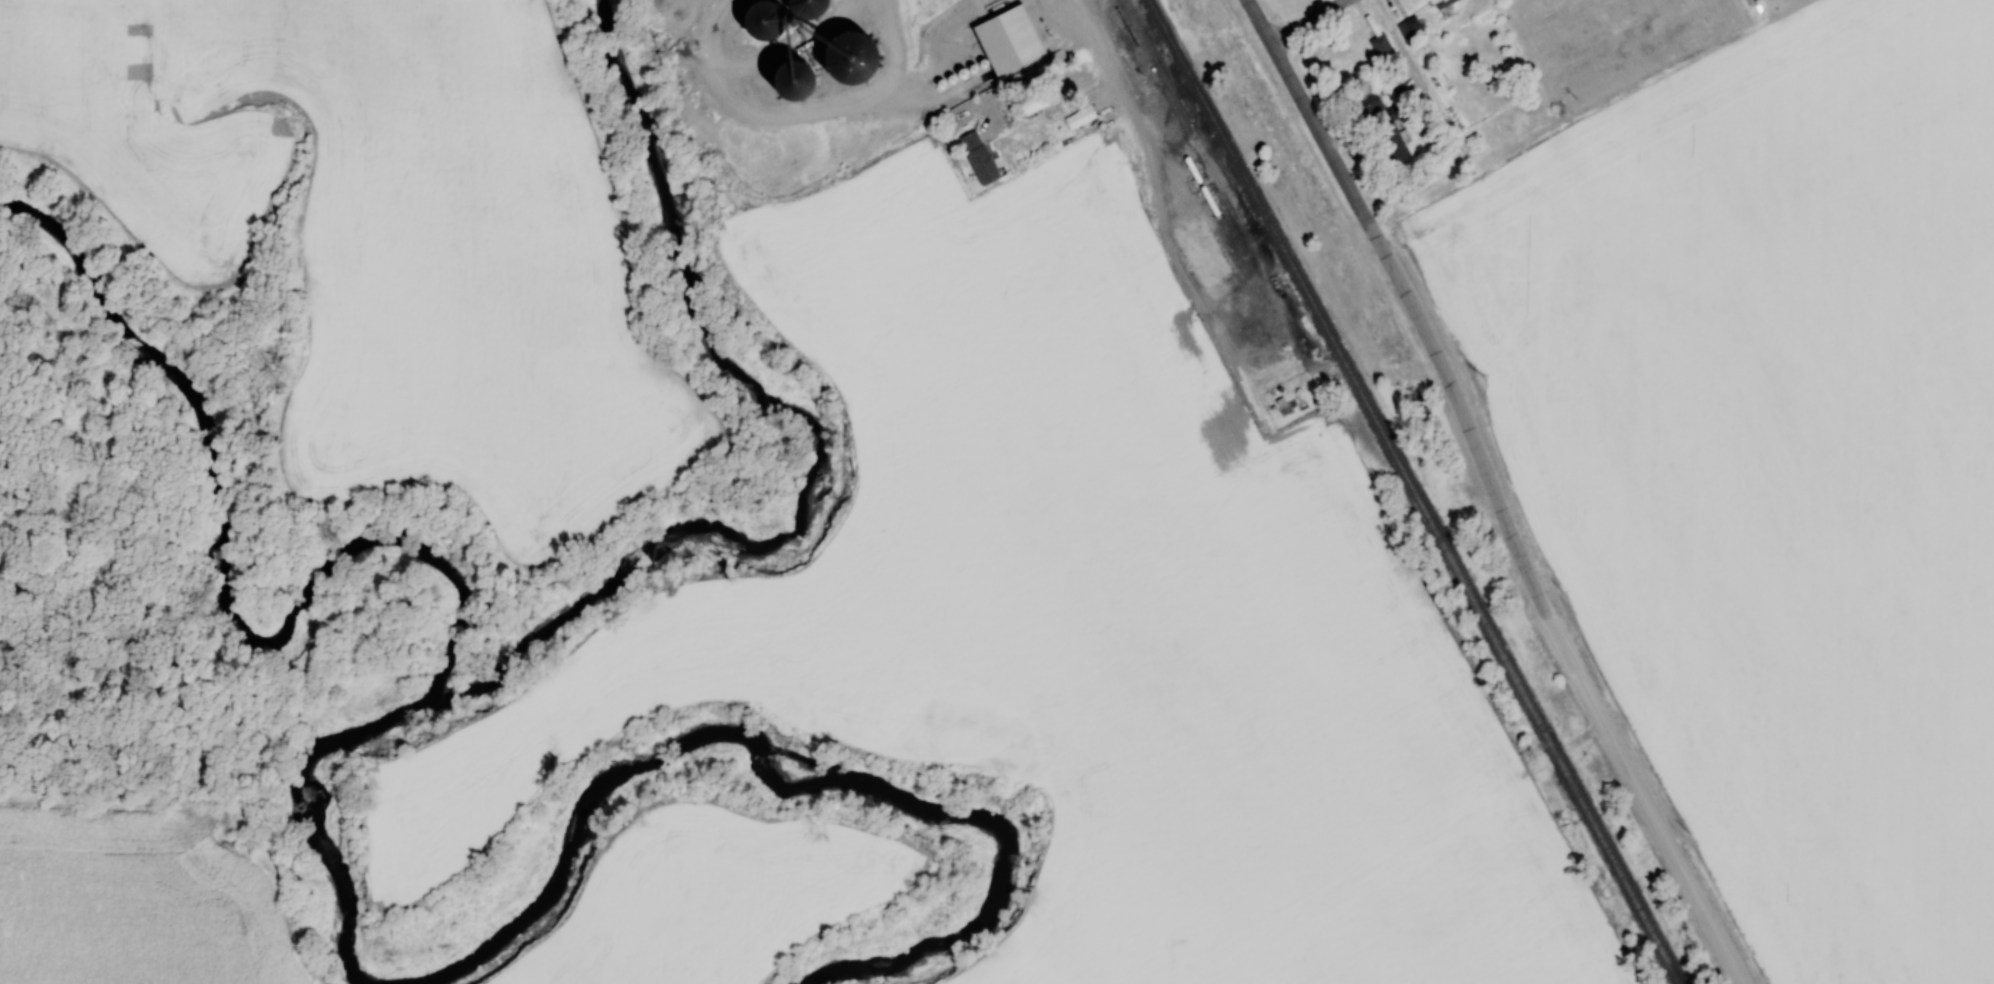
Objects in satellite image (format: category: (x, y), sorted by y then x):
building: (1442, 3)
building: (794, 11)
road: (1756, 11)
road: (1307, 21)
building: (748, 24)
building: (1410, 30)
building: (1005, 41)
park: (1623, 42)
building: (1380, 46)
building: (840, 60)
building: (783, 83)
building: (1029, 103)
building: (1369, 104)
road: (1132, 111)
building: (1085, 116)
road: (1309, 116)
building: (1392, 145)
building: (1200, 256)
railway: (1293, 305)
road: (1462, 416)
river: (822, 445)
railway: (1414, 491)
river: (338, 582)
river: (780, 767)
road: (1639, 795)

